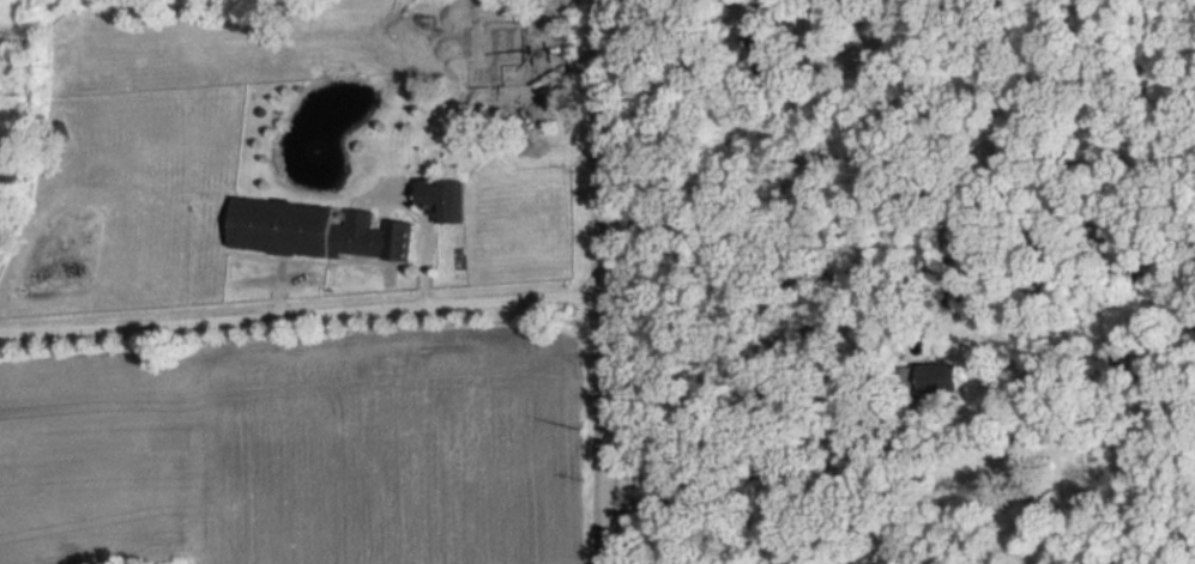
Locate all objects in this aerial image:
road: (630, 1)
road: (748, 2)
building: (539, 99)
building: (448, 199)
road: (429, 225)
building: (321, 231)
road: (596, 281)
road: (298, 313)
road: (760, 473)

